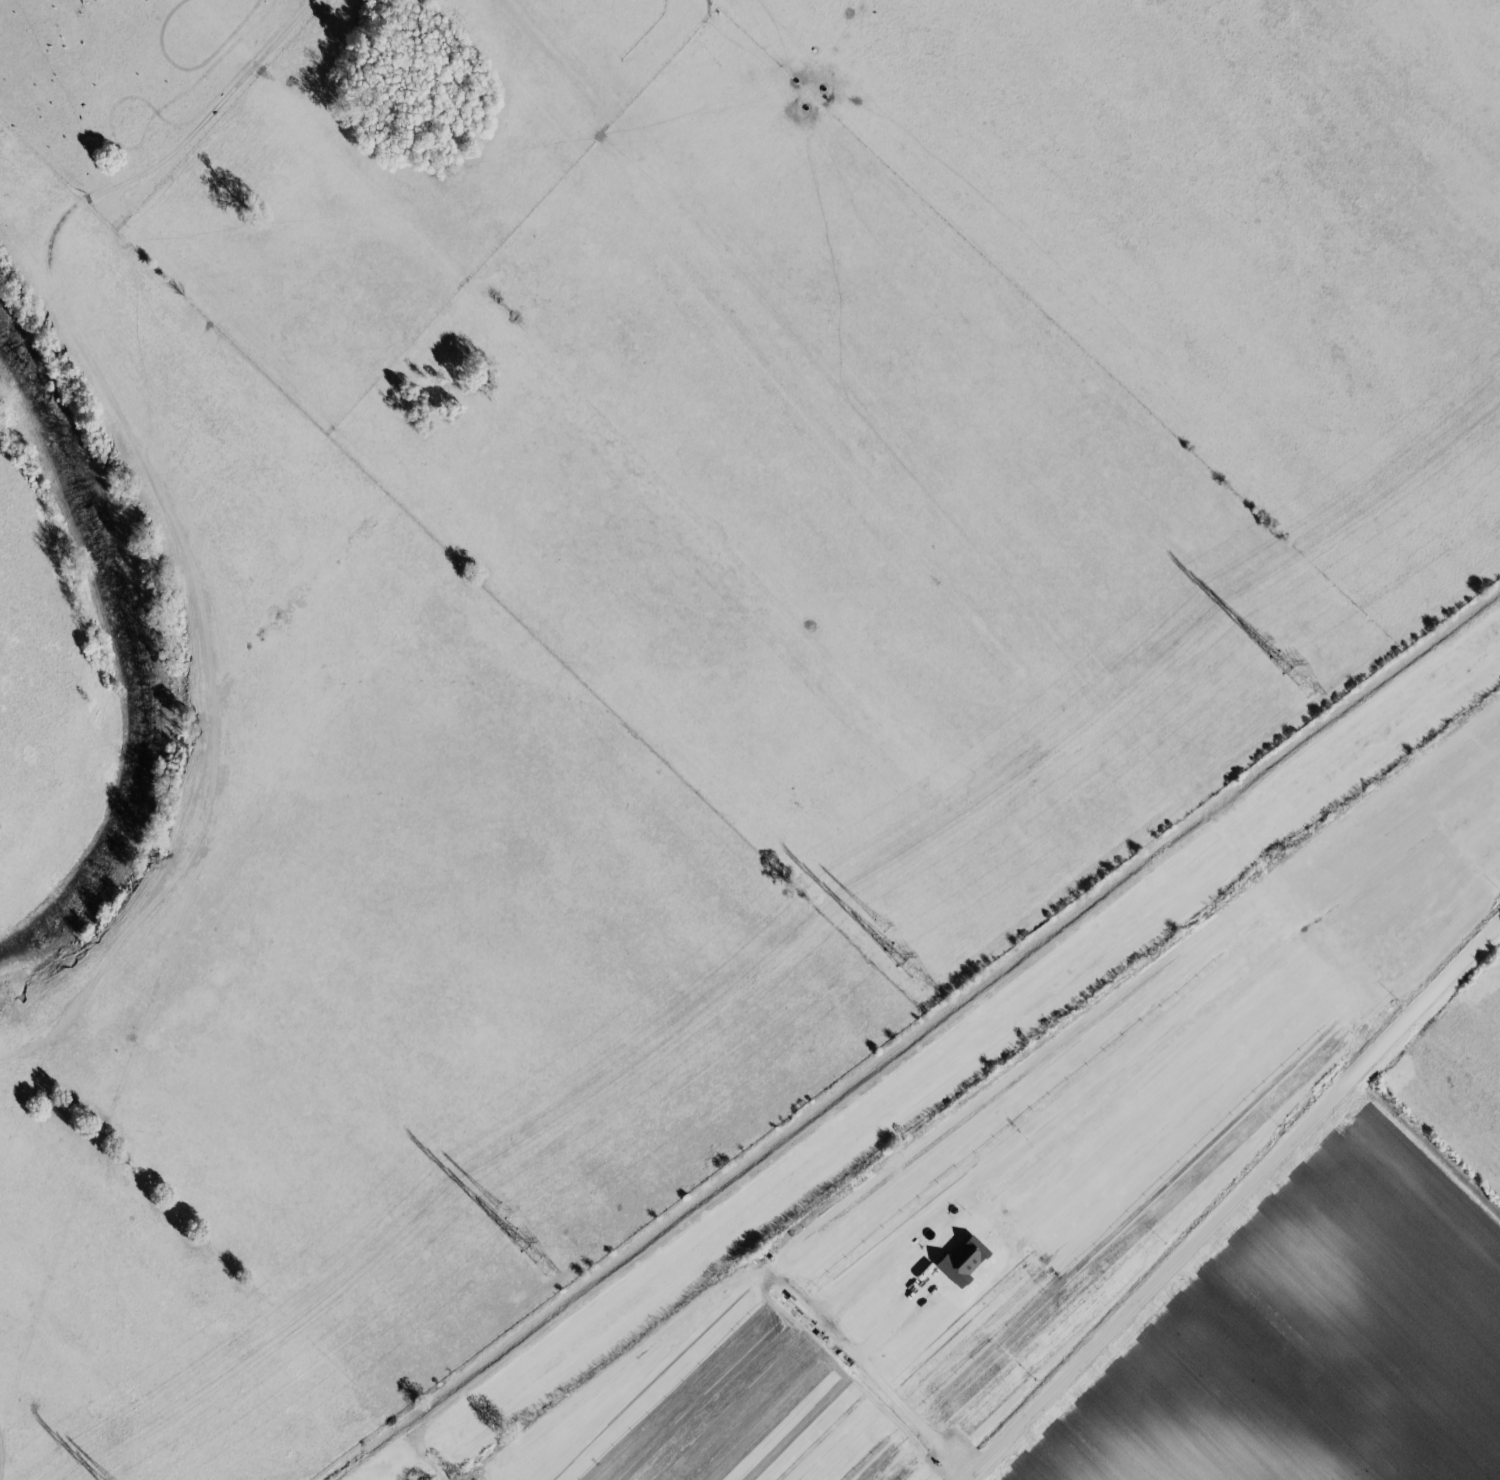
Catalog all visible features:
power tower: (1255, 639)
power tower: (1278, 664)
power tower: (1307, 689)
power tower: (877, 926)
power tower: (894, 956)
power tower: (921, 981)
railway: (933, 1060)
road: (1231, 1201)
power tower: (500, 1211)
power tower: (518, 1241)
building: (956, 1261)
power tower: (543, 1266)
road: (481, 1378)
road: (881, 1385)

